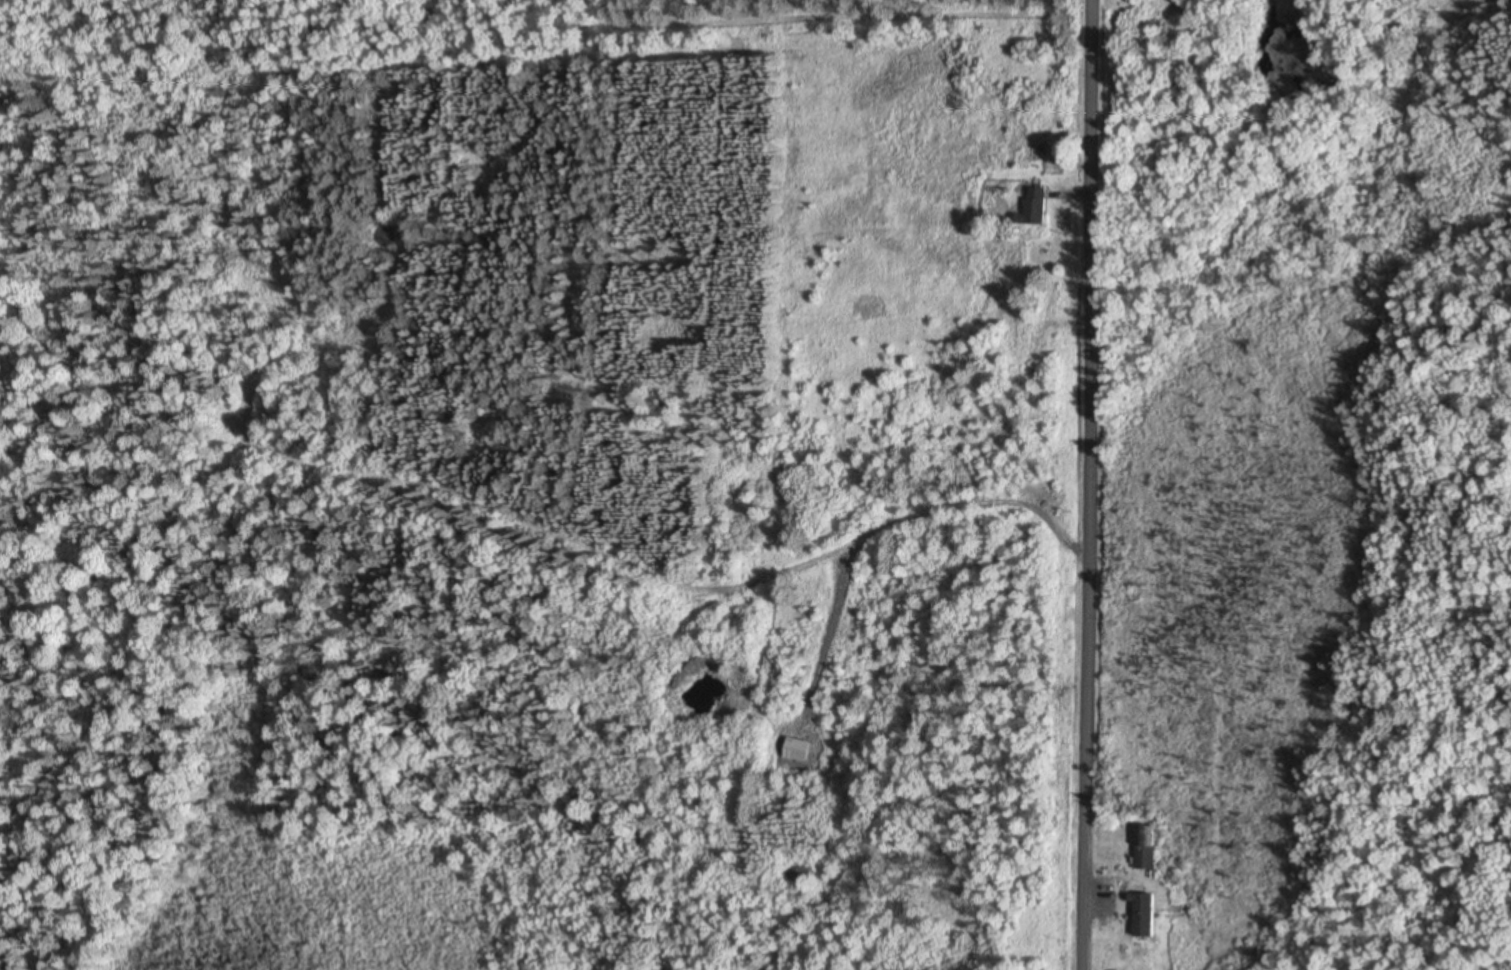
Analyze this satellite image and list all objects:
building: (1037, 209)
building: (1027, 391)
road: (1079, 485)
building: (1148, 847)
building: (1147, 917)

